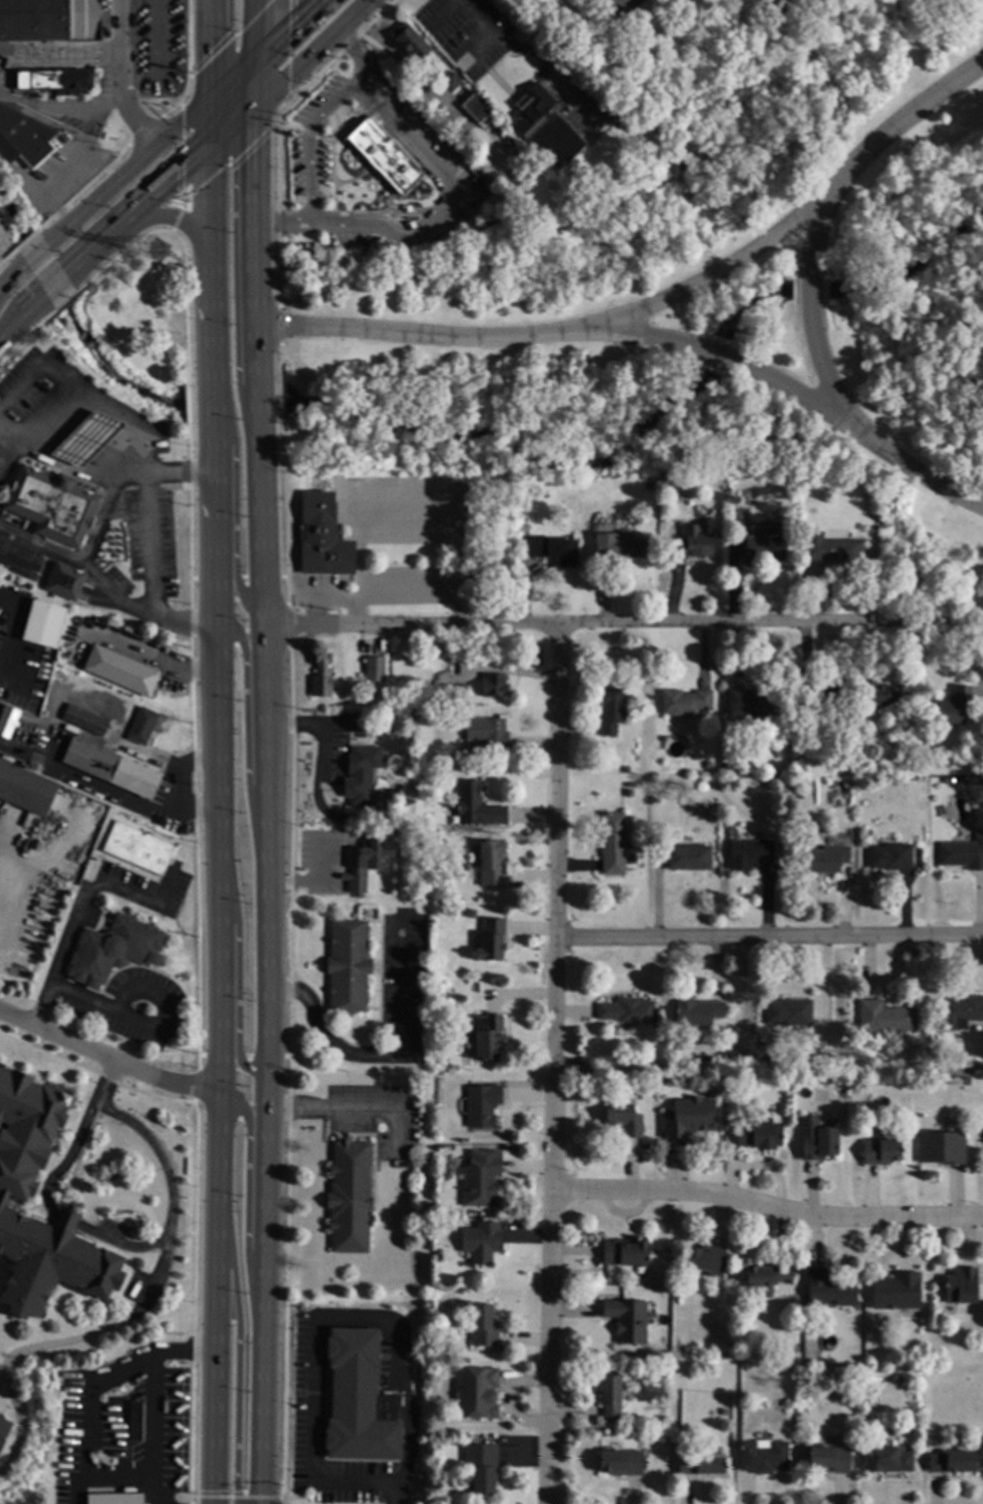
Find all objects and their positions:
road: (625, 3)
road: (475, 18)
building: (51, 21)
road: (255, 26)
road: (284, 26)
building: (410, 41)
road: (209, 46)
traffic signals: (255, 53)
road: (312, 54)
road: (62, 56)
road: (541, 57)
road: (355, 58)
road: (233, 72)
road: (125, 76)
road: (254, 80)
building: (54, 81)
building: (450, 82)
traffic signals: (213, 93)
traffic signals: (254, 108)
building: (476, 108)
building: (610, 110)
road: (62, 112)
road: (911, 117)
road: (211, 120)
road: (231, 127)
building: (544, 127)
building: (23, 137)
road: (307, 146)
traffic signals: (210, 148)
building: (384, 156)
building: (454, 160)
road: (128, 167)
road: (72, 171)
building: (658, 183)
road: (455, 203)
road: (138, 211)
road: (171, 219)
road: (282, 225)
road: (252, 238)
power tower: (158, 252)
road: (35, 254)
road: (210, 258)
road: (726, 269)
road: (12, 274)
road: (55, 285)
building: (834, 290)
road: (809, 299)
road: (22, 316)
park: (700, 329)
road: (477, 340)
road: (713, 356)
road: (215, 377)
road: (58, 382)
road: (785, 391)
road: (214, 404)
road: (256, 404)
road: (226, 412)
building: (86, 438)
road: (8, 449)
road: (910, 471)
road: (99, 477)
building: (674, 481)
building: (647, 486)
road: (423, 495)
building: (51, 505)
gas station: (51, 505)
road: (408, 528)
road: (260, 533)
road: (236, 536)
building: (321, 537)
building: (692, 546)
building: (618, 547)
building: (761, 547)
building: (830, 549)
building: (553, 550)
road: (84, 562)
building: (64, 581)
road: (153, 581)
road: (408, 593)
road: (117, 595)
road: (338, 598)
road: (318, 612)
road: (358, 612)
building: (43, 624)
road: (624, 625)
road: (14, 632)
building: (127, 636)
building: (122, 649)
building: (374, 669)
building: (119, 671)
building: (163, 672)
building: (321, 675)
building: (492, 685)
building: (454, 691)
building: (819, 693)
building: (880, 694)
building: (381, 701)
building: (422, 701)
building: (684, 702)
building: (749, 703)
building: (951, 706)
building: (611, 709)
building: (34, 720)
building: (10, 722)
building: (91, 724)
building: (142, 725)
building: (358, 725)
building: (487, 734)
road: (245, 743)
road: (7, 752)
building: (907, 760)
road: (220, 763)
building: (843, 766)
building: (110, 767)
building: (725, 767)
building: (625, 769)
building: (361, 773)
road: (316, 778)
building: (971, 779)
building: (846, 784)
building: (389, 787)
building: (701, 787)
building: (24, 793)
building: (635, 795)
road: (134, 803)
building: (476, 806)
building: (612, 843)
building: (137, 848)
road: (267, 849)
building: (747, 853)
building: (962, 853)
building: (890, 857)
building: (688, 858)
building: (827, 859)
building: (490, 862)
building: (465, 865)
building: (355, 869)
road: (80, 905)
building: (470, 913)
road: (769, 935)
building: (490, 940)
building: (114, 949)
building: (347, 965)
road: (236, 982)
road: (93, 1004)
building: (626, 1010)
building: (789, 1012)
building: (960, 1012)
building: (696, 1014)
building: (884, 1017)
building: (487, 1038)
road: (387, 1054)
road: (105, 1057)
building: (763, 1057)
building: (705, 1059)
building: (644, 1062)
road: (553, 1065)
building: (858, 1075)
building: (963, 1080)
building: (481, 1105)
road: (327, 1108)
building: (687, 1117)
building: (622, 1118)
building: (758, 1135)
building: (819, 1144)
building: (941, 1147)
building: (880, 1151)
road: (71, 1156)
building: (480, 1178)
road: (246, 1193)
building: (5, 1197)
building: (348, 1197)
road: (767, 1209)
road: (64, 1221)
building: (480, 1242)
road: (118, 1246)
building: (623, 1252)
building: (437, 1253)
building: (705, 1259)
building: (765, 1277)
building: (960, 1286)
road: (261, 1287)
building: (827, 1290)
building: (895, 1291)
road: (211, 1295)
road: (147, 1299)
road: (316, 1320)
building: (626, 1320)
building: (482, 1326)
building: (363, 1347)
road: (237, 1352)
building: (474, 1392)
road: (155, 1397)
building: (609, 1398)
road: (84, 1412)
building: (134, 1421)
building: (3, 1428)
building: (762, 1457)
building: (828, 1458)
building: (887, 1459)
building: (948, 1461)
building: (619, 1462)
building: (699, 1465)
building: (481, 1466)
road: (117, 1478)
road: (400, 1494)
building: (114, 1498)

